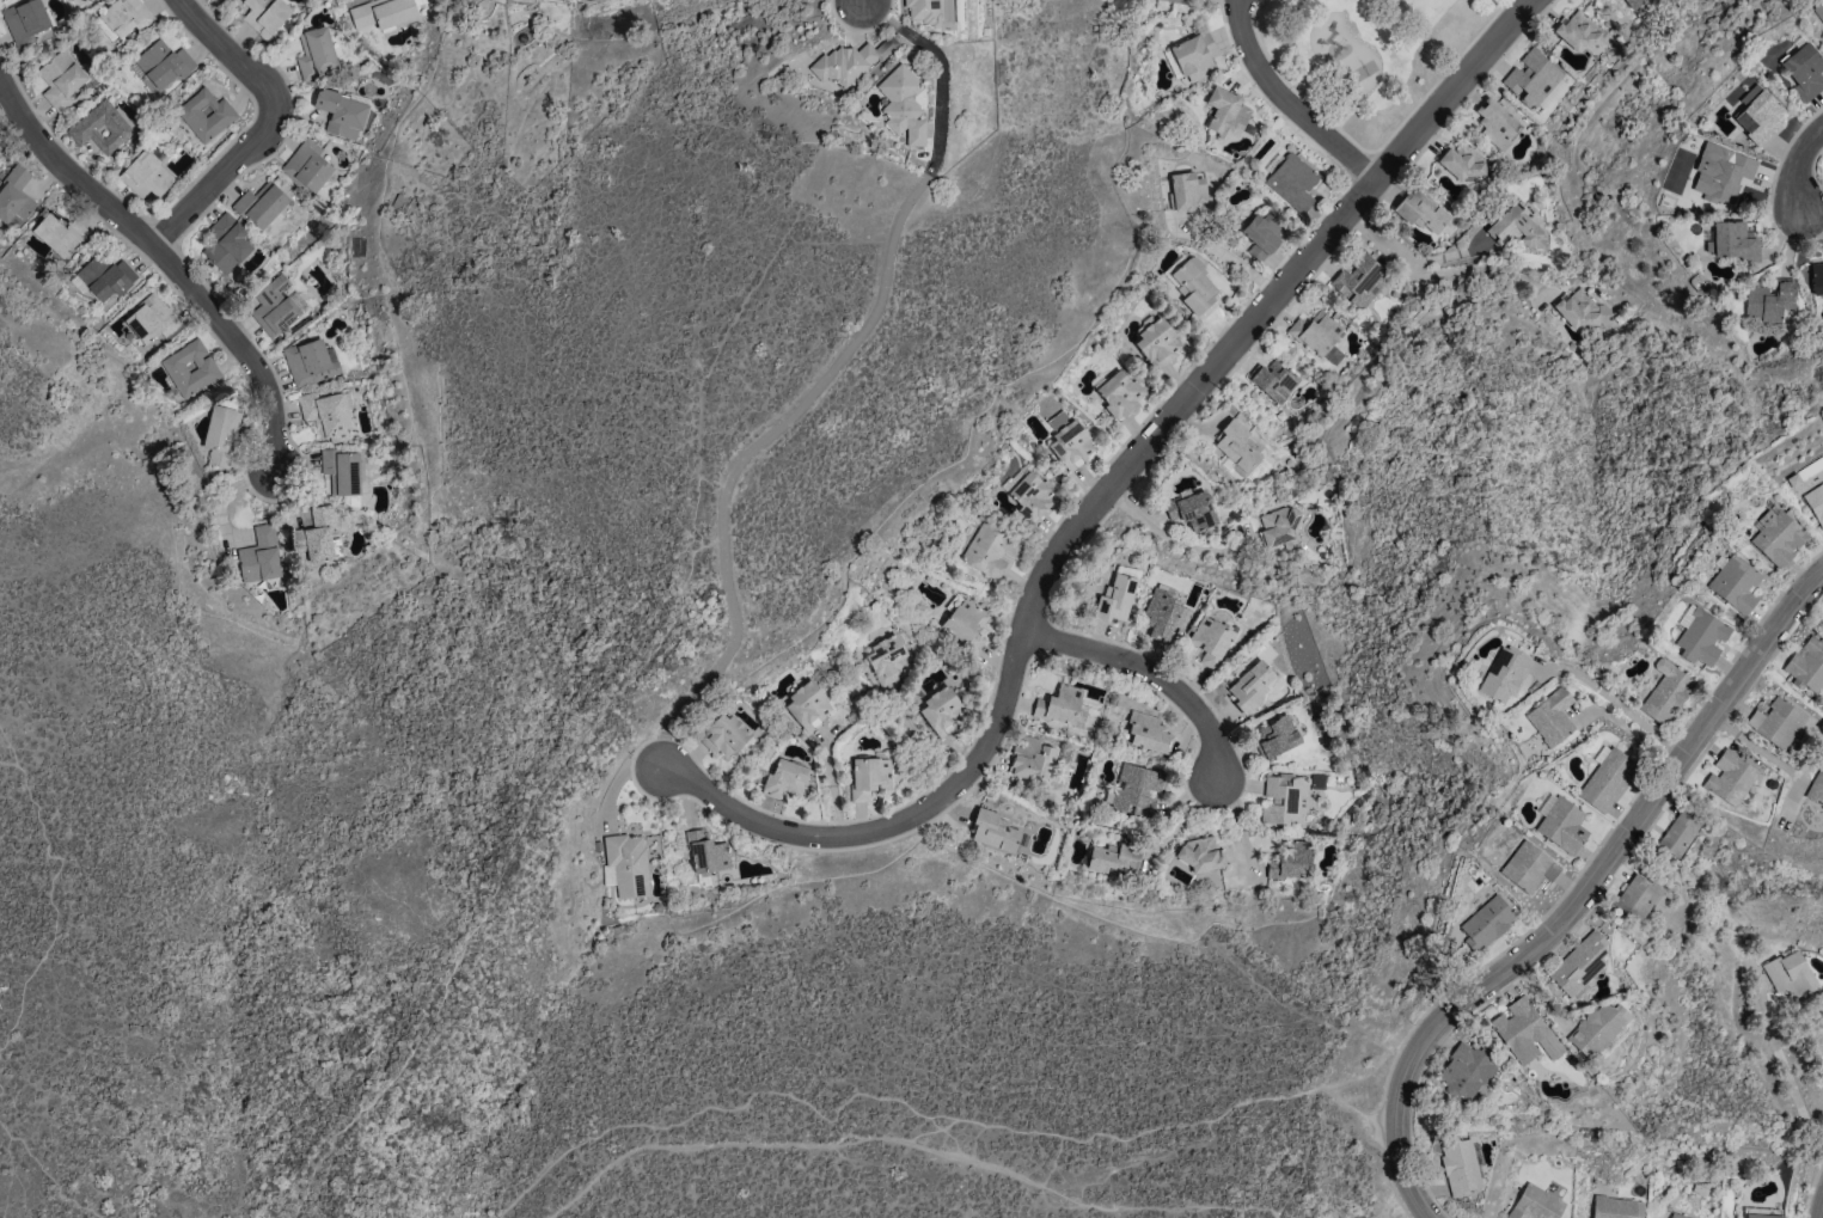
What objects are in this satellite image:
building: (1175, 1)
building: (1631, 2)
building: (923, 11)
building: (381, 12)
building: (126, 16)
building: (264, 16)
building: (25, 19)
building: (105, 29)
building: (1580, 31)
building: (316, 53)
park: (1369, 54)
building: (1194, 56)
building: (850, 61)
building: (161, 65)
building: (1804, 71)
road: (1, 80)
building: (60, 80)
building: (1534, 80)
building: (1749, 93)
road: (1289, 102)
building: (903, 105)
building: (341, 114)
building: (1225, 114)
building: (204, 115)
building: (1758, 117)
building: (1495, 122)
building: (102, 127)
road: (264, 128)
building: (0, 149)
building: (1462, 161)
building: (307, 166)
road: (1799, 169)
building: (1720, 172)
building: (146, 175)
building: (1292, 182)
building: (1186, 190)
building: (14, 195)
building: (261, 204)
building: (1423, 213)
building: (1516, 227)
building: (60, 234)
building: (1262, 234)
building: (1733, 240)
building: (226, 243)
road: (1384, 244)
road: (165, 261)
road: (1486, 267)
building: (105, 276)
building: (1817, 277)
building: (1359, 280)
building: (1193, 284)
building: (1768, 301)
building: (276, 306)
building: (1579, 311)
building: (149, 319)
building: (1315, 332)
building: (1157, 342)
building: (1333, 355)
building: (310, 361)
building: (189, 368)
road: (822, 380)
building: (1272, 380)
building: (1119, 394)
building: (326, 414)
road: (1157, 428)
building: (220, 435)
building: (1070, 445)
building: (1237, 448)
building: (347, 477)
building: (1030, 495)
building: (1192, 510)
building: (1279, 530)
road: (1168, 535)
building: (317, 537)
building: (1778, 537)
road: (705, 541)
building: (990, 549)
building: (259, 556)
building: (1735, 584)
building: (1115, 599)
building: (965, 620)
building: (1701, 637)
building: (1210, 641)
building: (887, 660)
road: (1154, 671)
building: (1503, 674)
building: (1250, 686)
building: (1665, 692)
road: (608, 703)
road: (1616, 704)
building: (1059, 705)
building: (807, 706)
building: (1550, 717)
building: (1776, 722)
road: (1629, 732)
building: (1149, 733)
building: (723, 735)
building: (1276, 737)
building: (1032, 759)
building: (868, 777)
building: (1729, 777)
building: (785, 779)
building: (1607, 779)
building: (1817, 787)
building: (1137, 790)
building: (1284, 800)
road: (738, 812)
road: (1182, 821)
building: (1562, 825)
building: (993, 831)
building: (1680, 832)
building: (706, 853)
building: (1199, 853)
building: (1114, 859)
building: (1292, 861)
building: (625, 865)
building: (1528, 868)
road: (1580, 895)
building: (1635, 898)
road: (50, 899)
building: (1487, 922)
building: (1578, 965)
building: (1790, 974)
building: (1598, 1027)
building: (1524, 1033)
road: (1784, 1067)
building: (1464, 1071)
road: (926, 1115)
road: (911, 1145)
road: (1307, 1156)
building: (1460, 1167)
road: (45, 1174)
building: (1535, 1204)
building: (1616, 1207)
building: (1676, 1216)
building: (1762, 1216)

